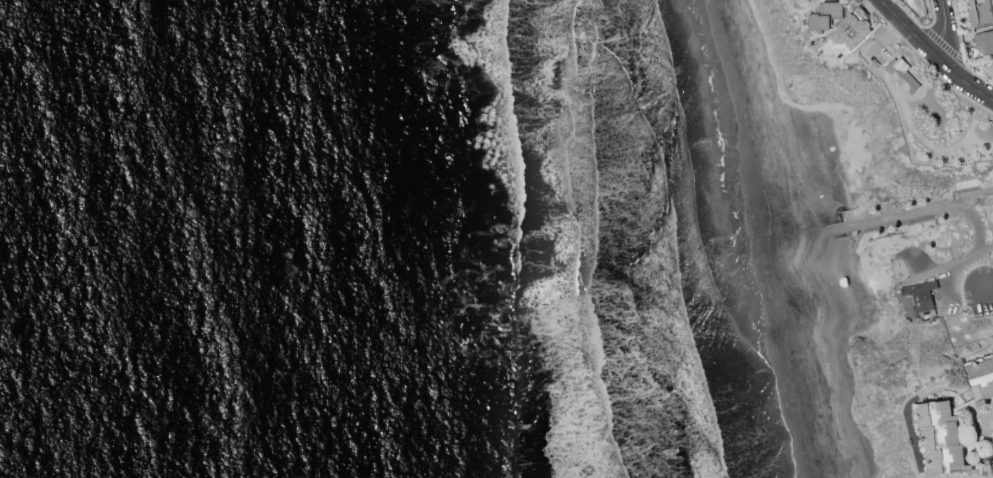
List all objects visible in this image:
building: (980, 11)
building: (827, 15)
building: (852, 31)
road: (954, 40)
building: (985, 41)
road: (933, 55)
building: (992, 62)
building: (904, 75)
road: (929, 212)
park: (837, 215)
park: (955, 238)
road: (981, 269)
parking lot: (985, 282)
building: (922, 295)
building: (981, 378)
road: (905, 417)
building: (929, 434)
building: (990, 466)

